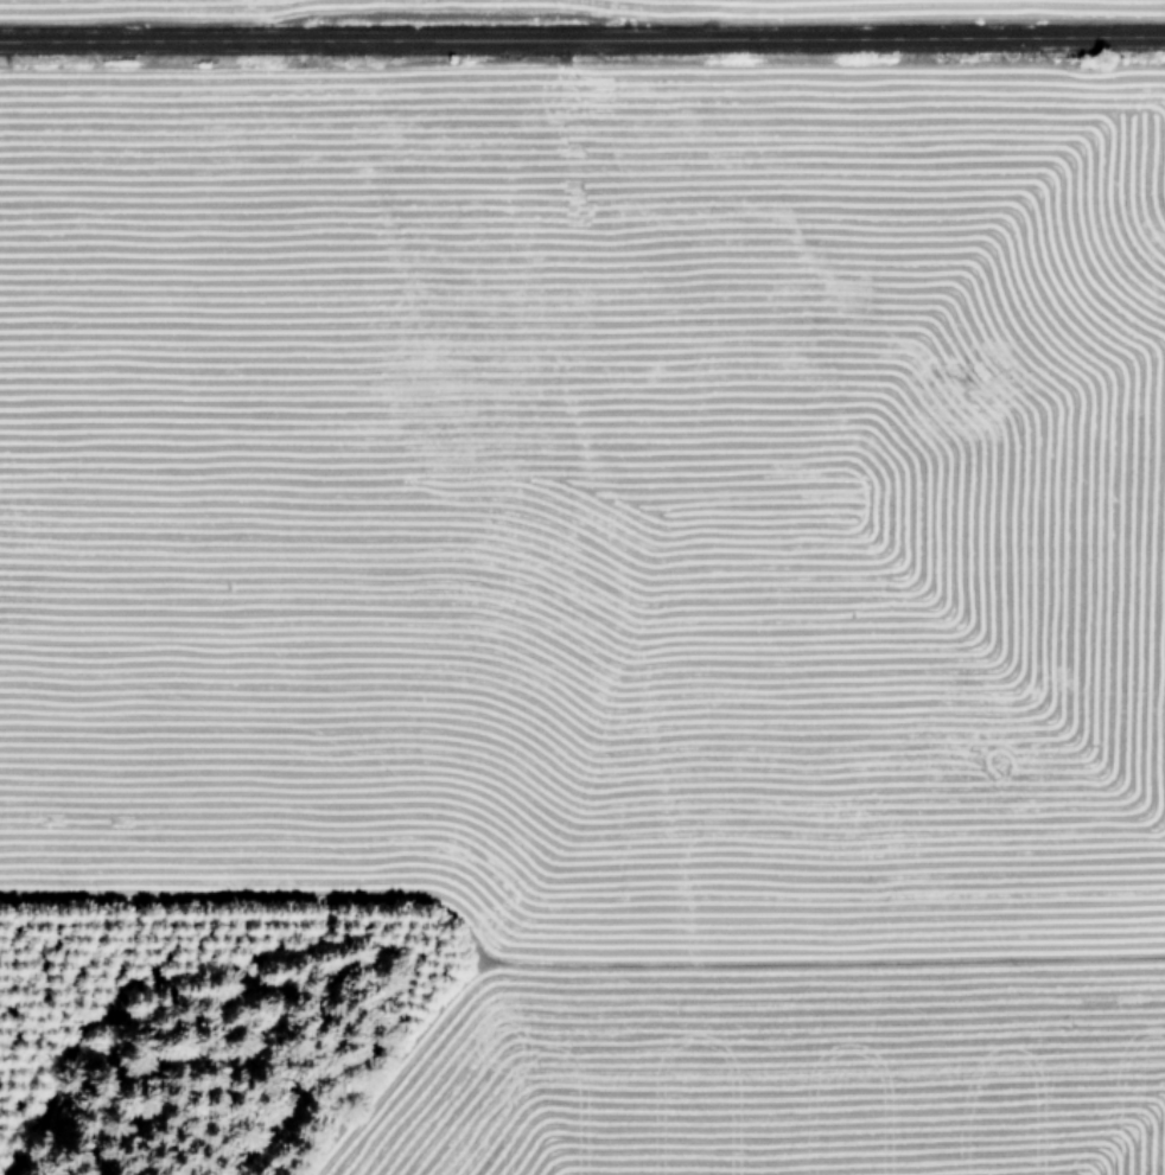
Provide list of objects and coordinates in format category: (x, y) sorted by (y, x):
road: (582, 33)
crop: (616, 547)

